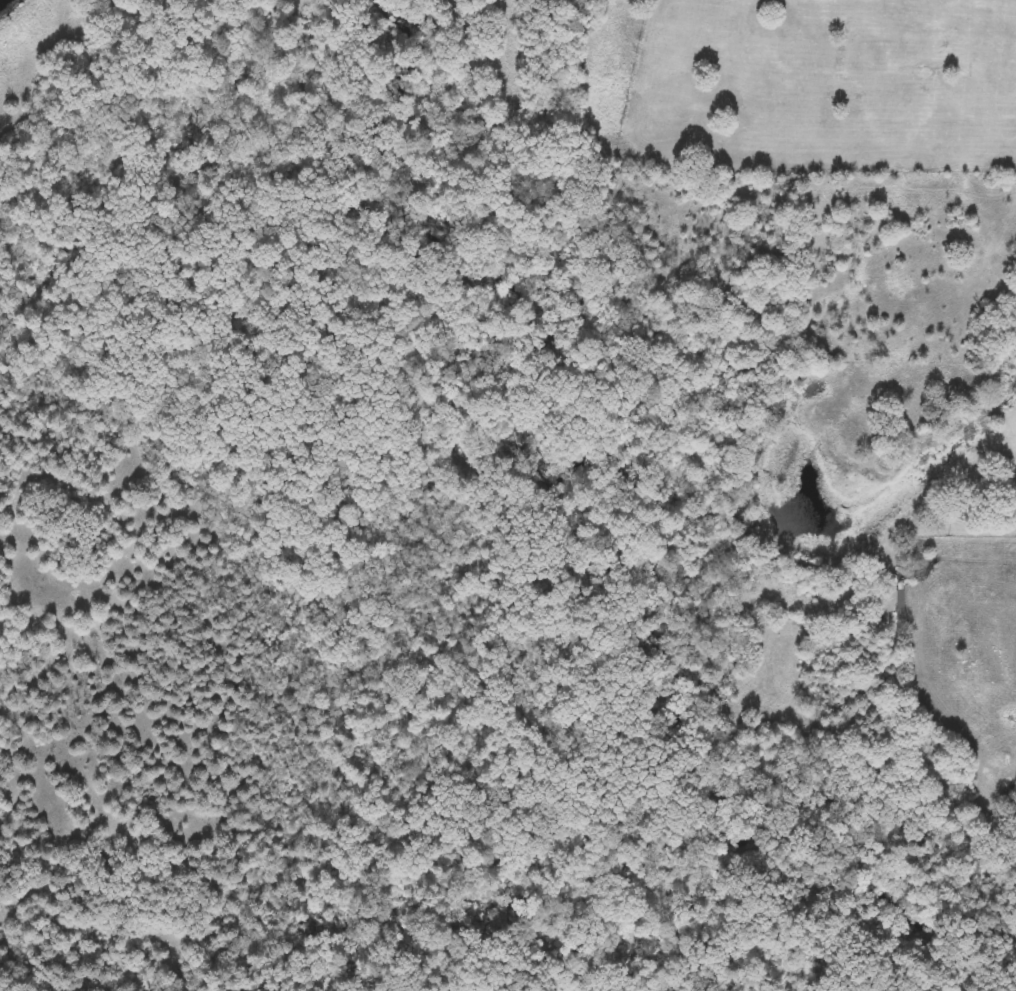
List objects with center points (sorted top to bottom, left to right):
road: (990, 528)

